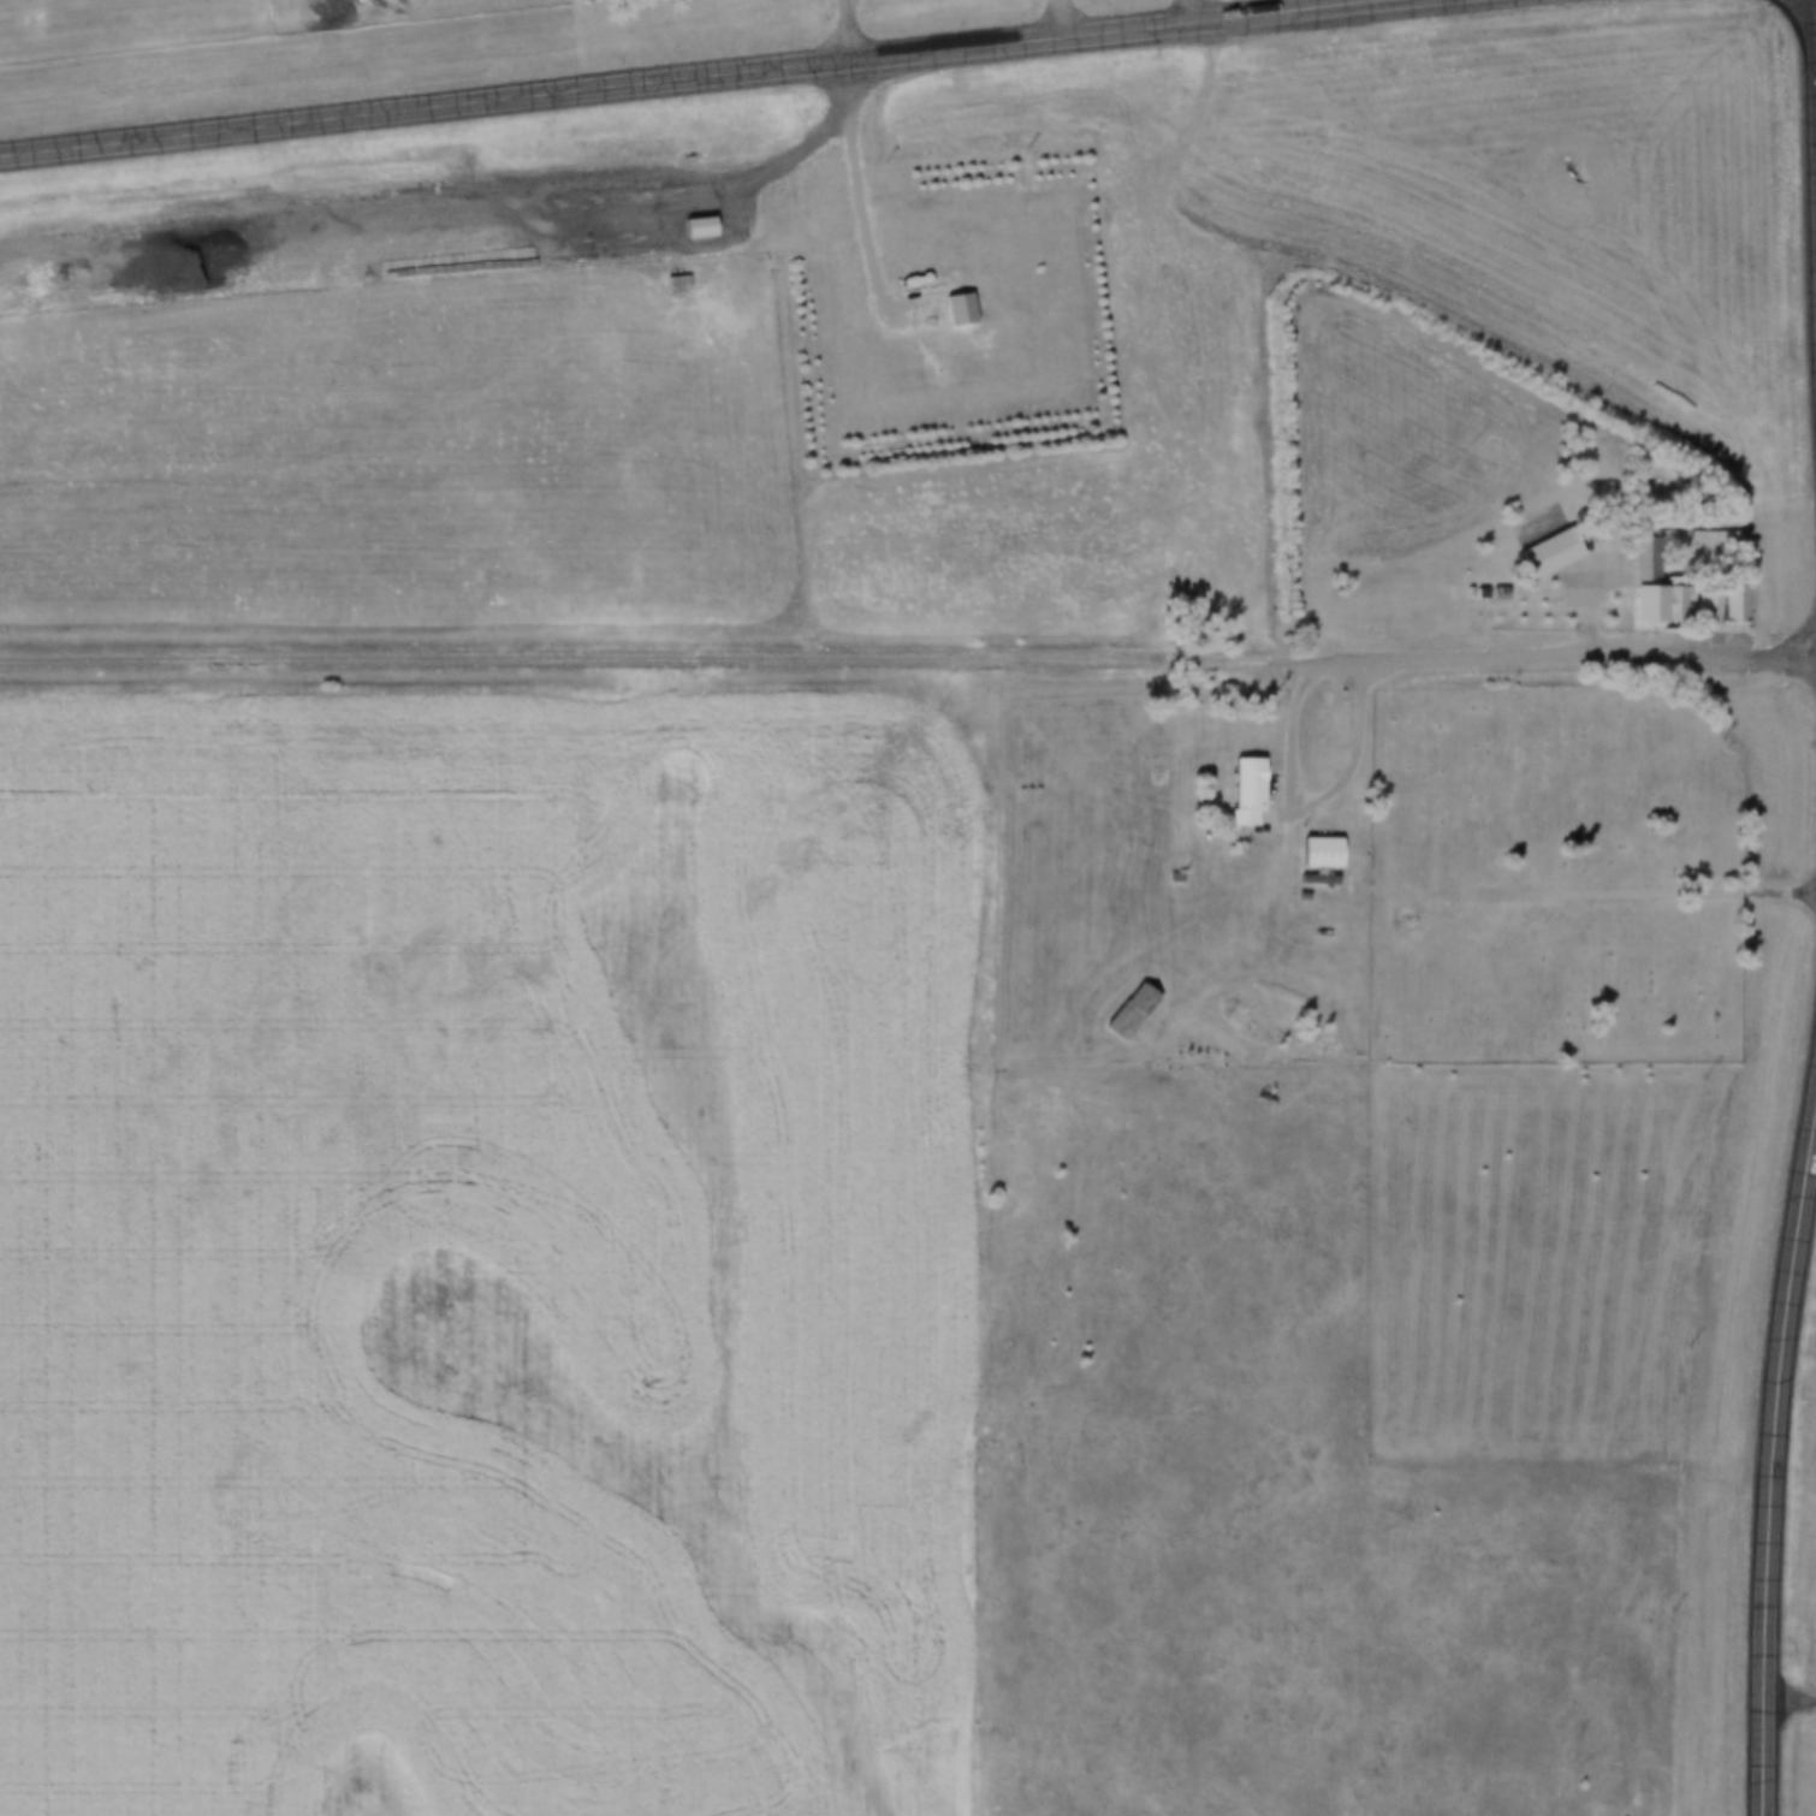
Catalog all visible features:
road: (1194, 14)
road: (1061, 20)
road: (855, 32)
road: (723, 79)
road: (1811, 165)
road: (476, 201)
road: (849, 210)
building: (704, 226)
building: (681, 281)
building: (954, 290)
building: (1556, 551)
building: (1654, 569)
building: (1722, 604)
road: (654, 664)
road: (1562, 665)
building: (1253, 790)
road: (1323, 791)
building: (1328, 851)
park: (1555, 880)
road: (1618, 898)
building: (1135, 1009)
road: (1772, 1461)

